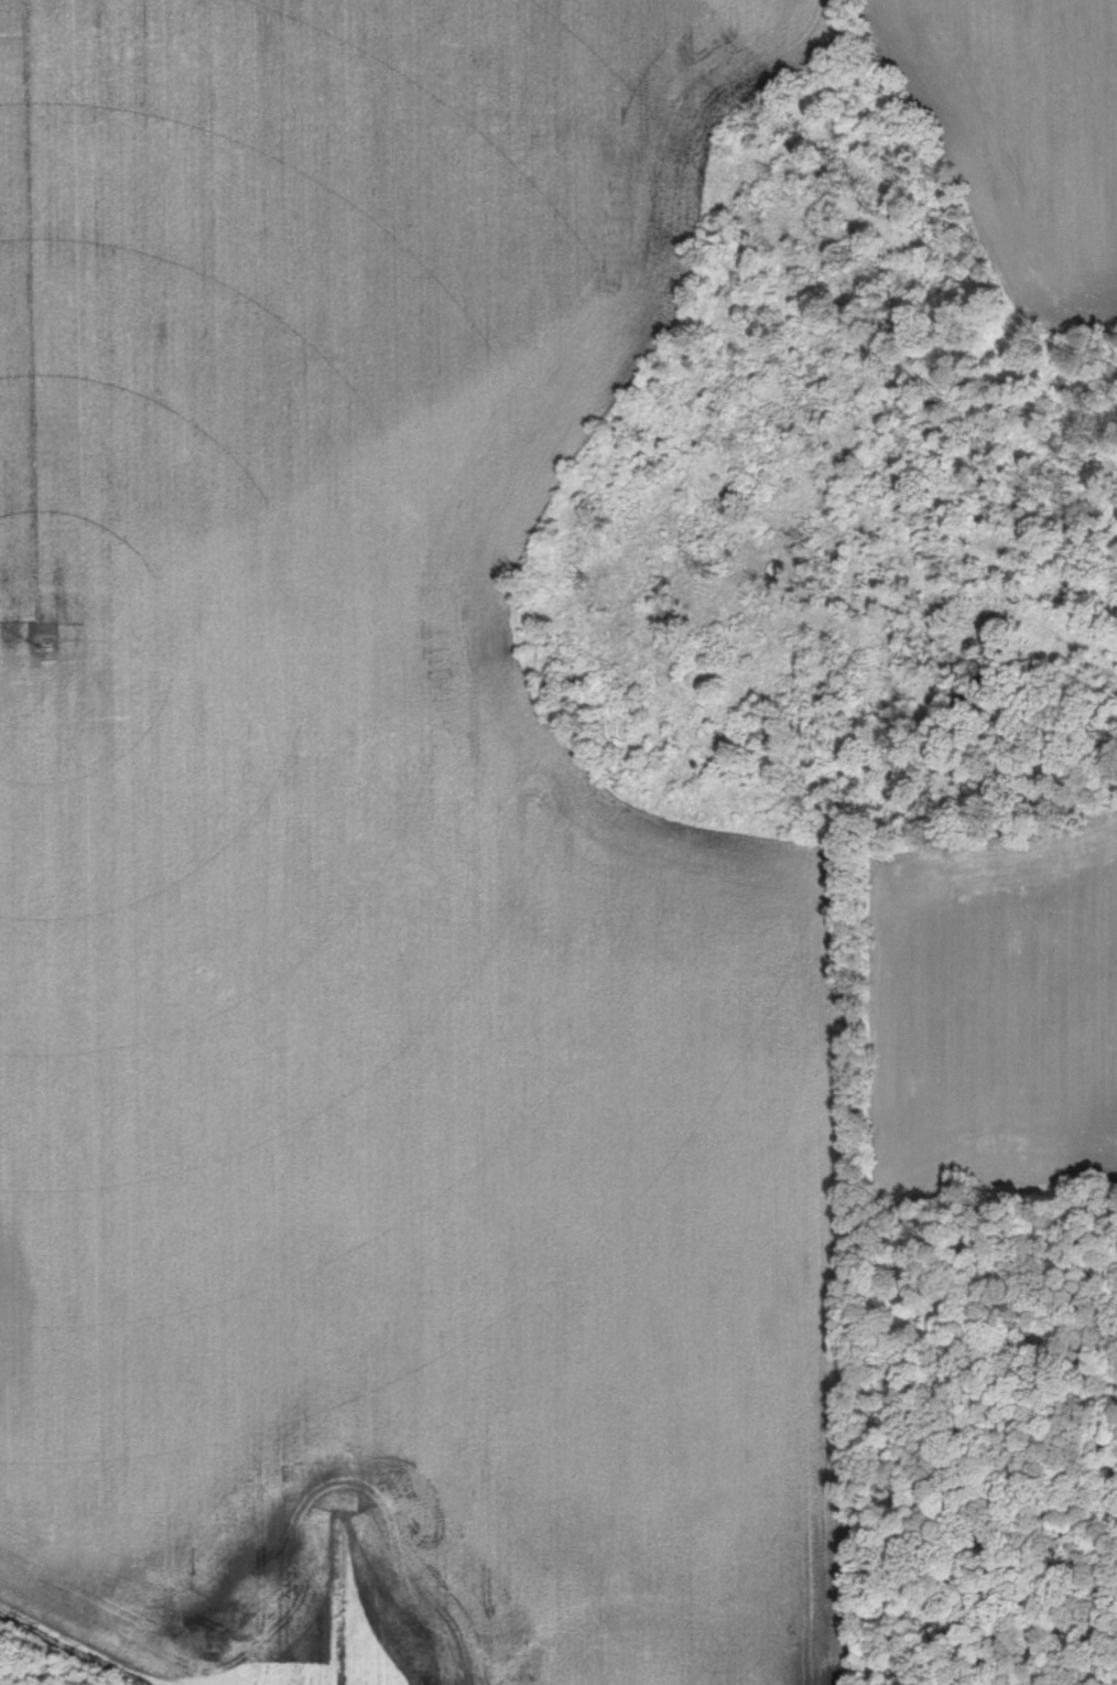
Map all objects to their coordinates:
crop: (1028, 133)
crop: (380, 878)
crop: (998, 1013)

